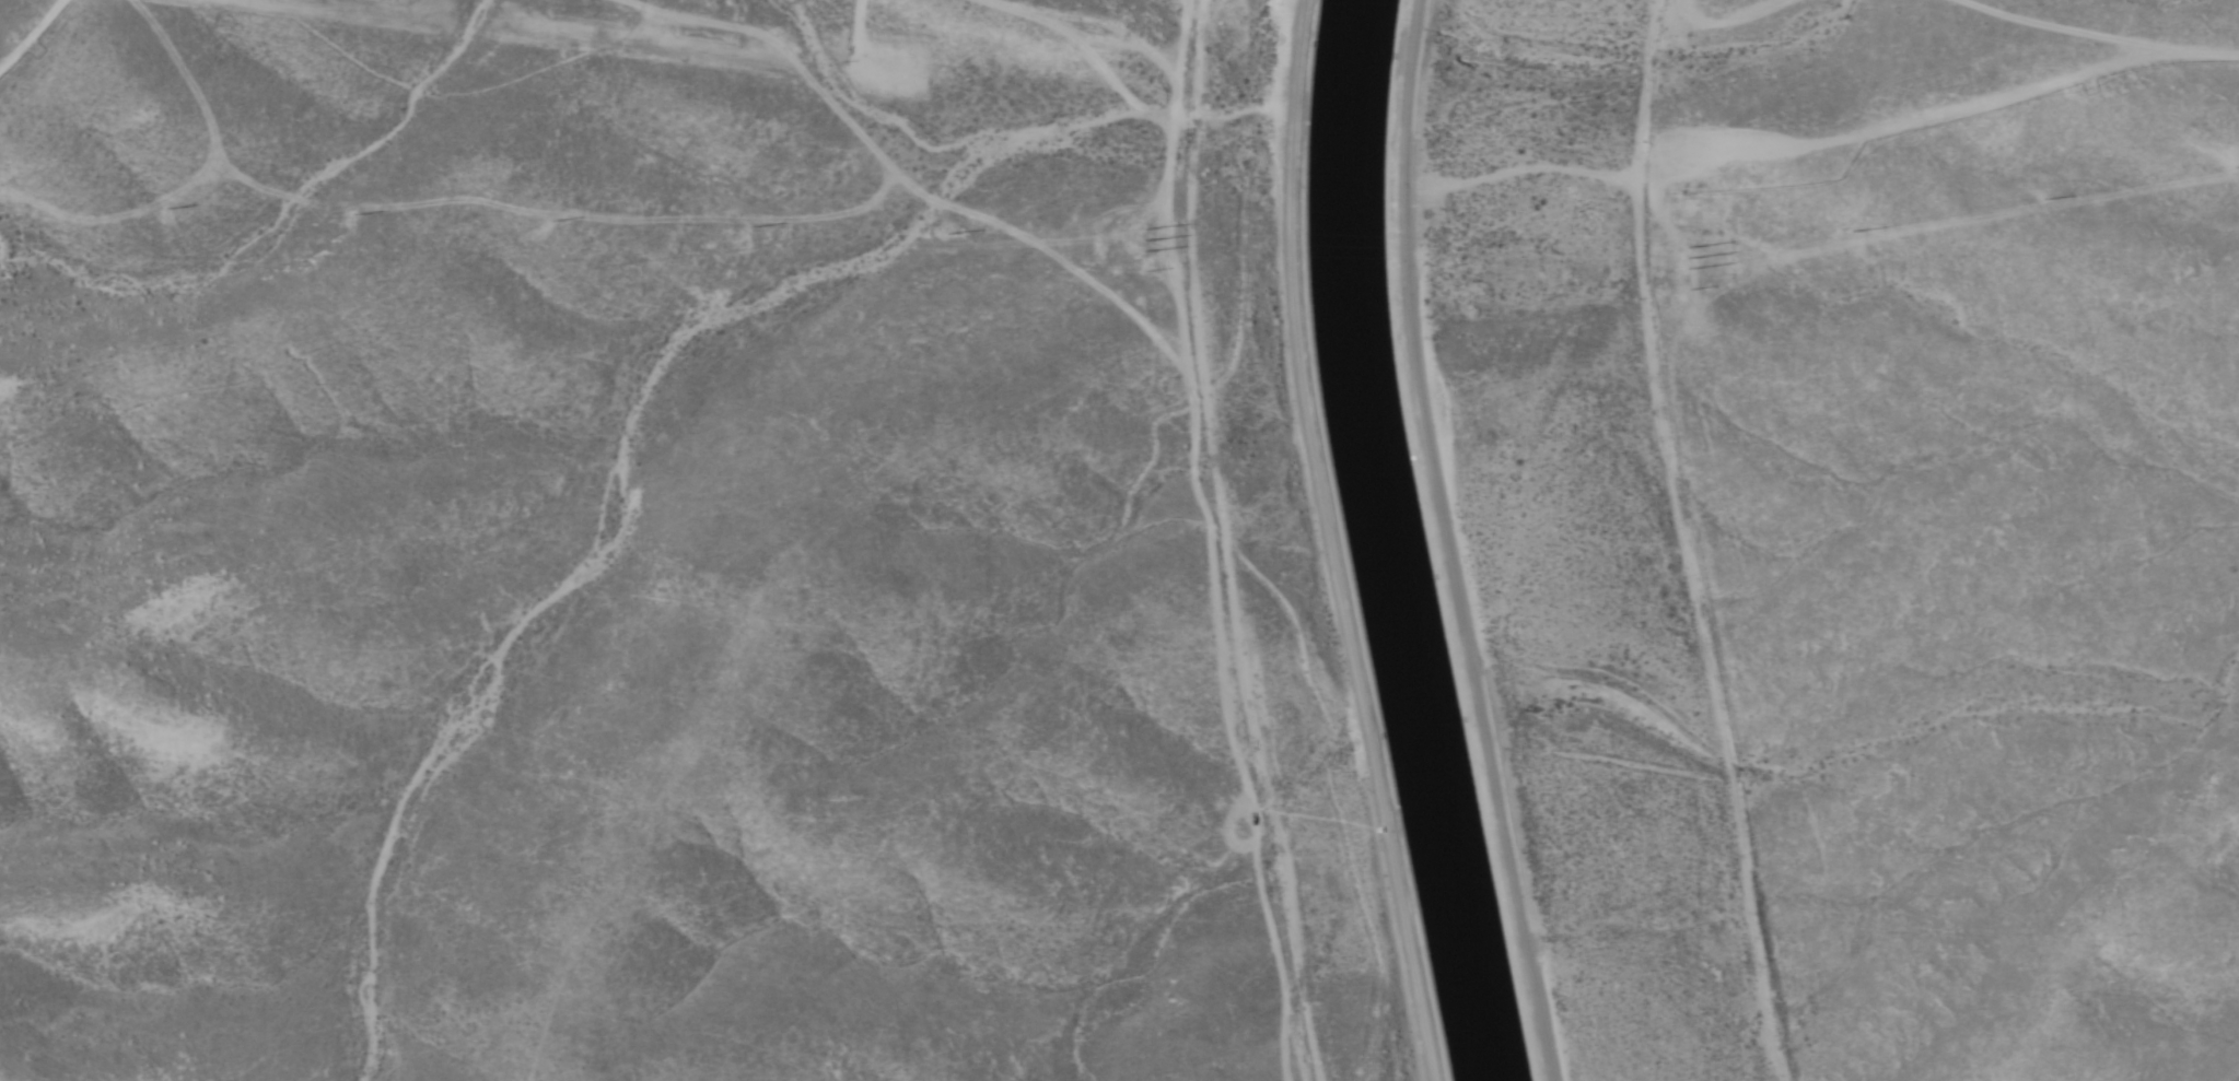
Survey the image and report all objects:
road: (58, 59)
road: (1938, 115)
road: (1206, 541)
road: (1448, 542)
road: (1330, 543)
road: (1700, 631)

